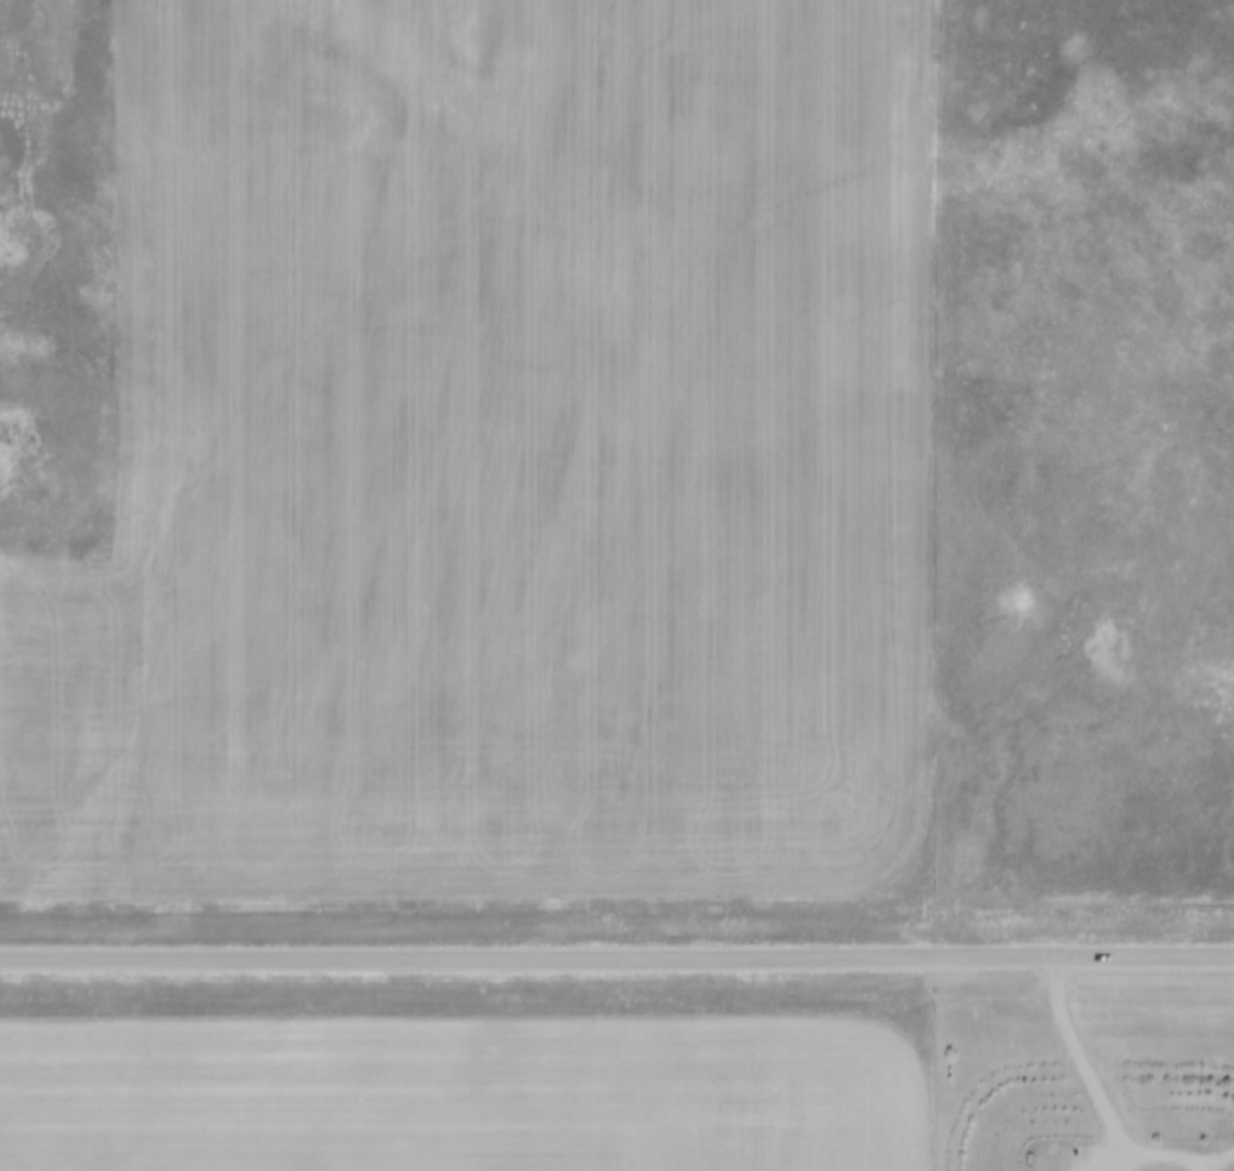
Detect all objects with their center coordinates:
road: (616, 959)
road: (1104, 1105)
road: (1118, 1153)
road: (1087, 1154)
road: (1200, 1166)

